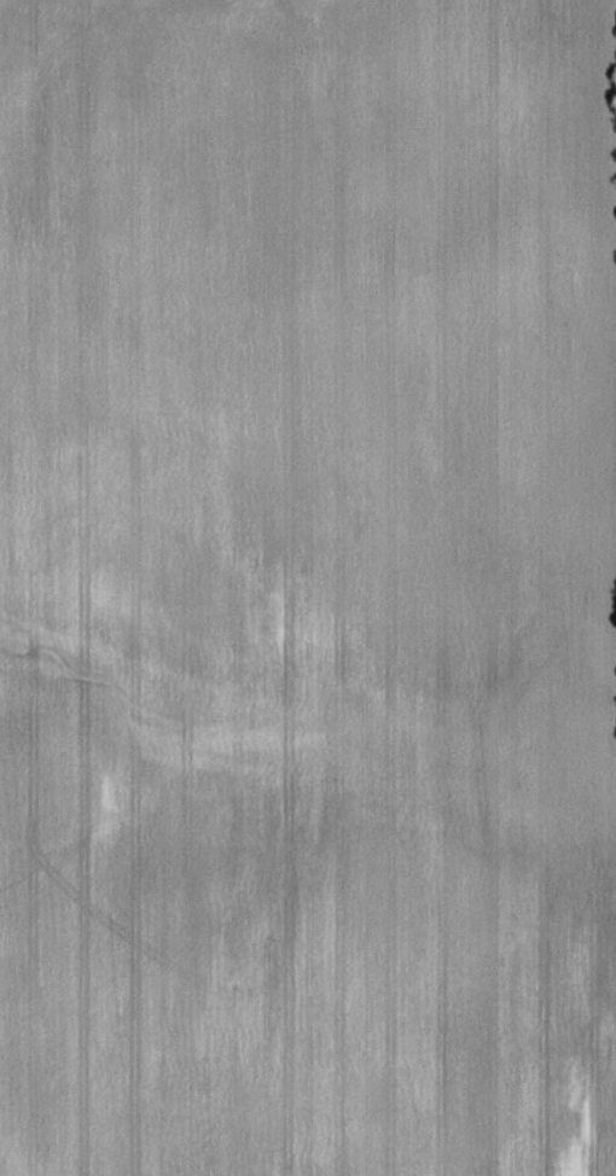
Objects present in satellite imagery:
crop: (307, 588)

